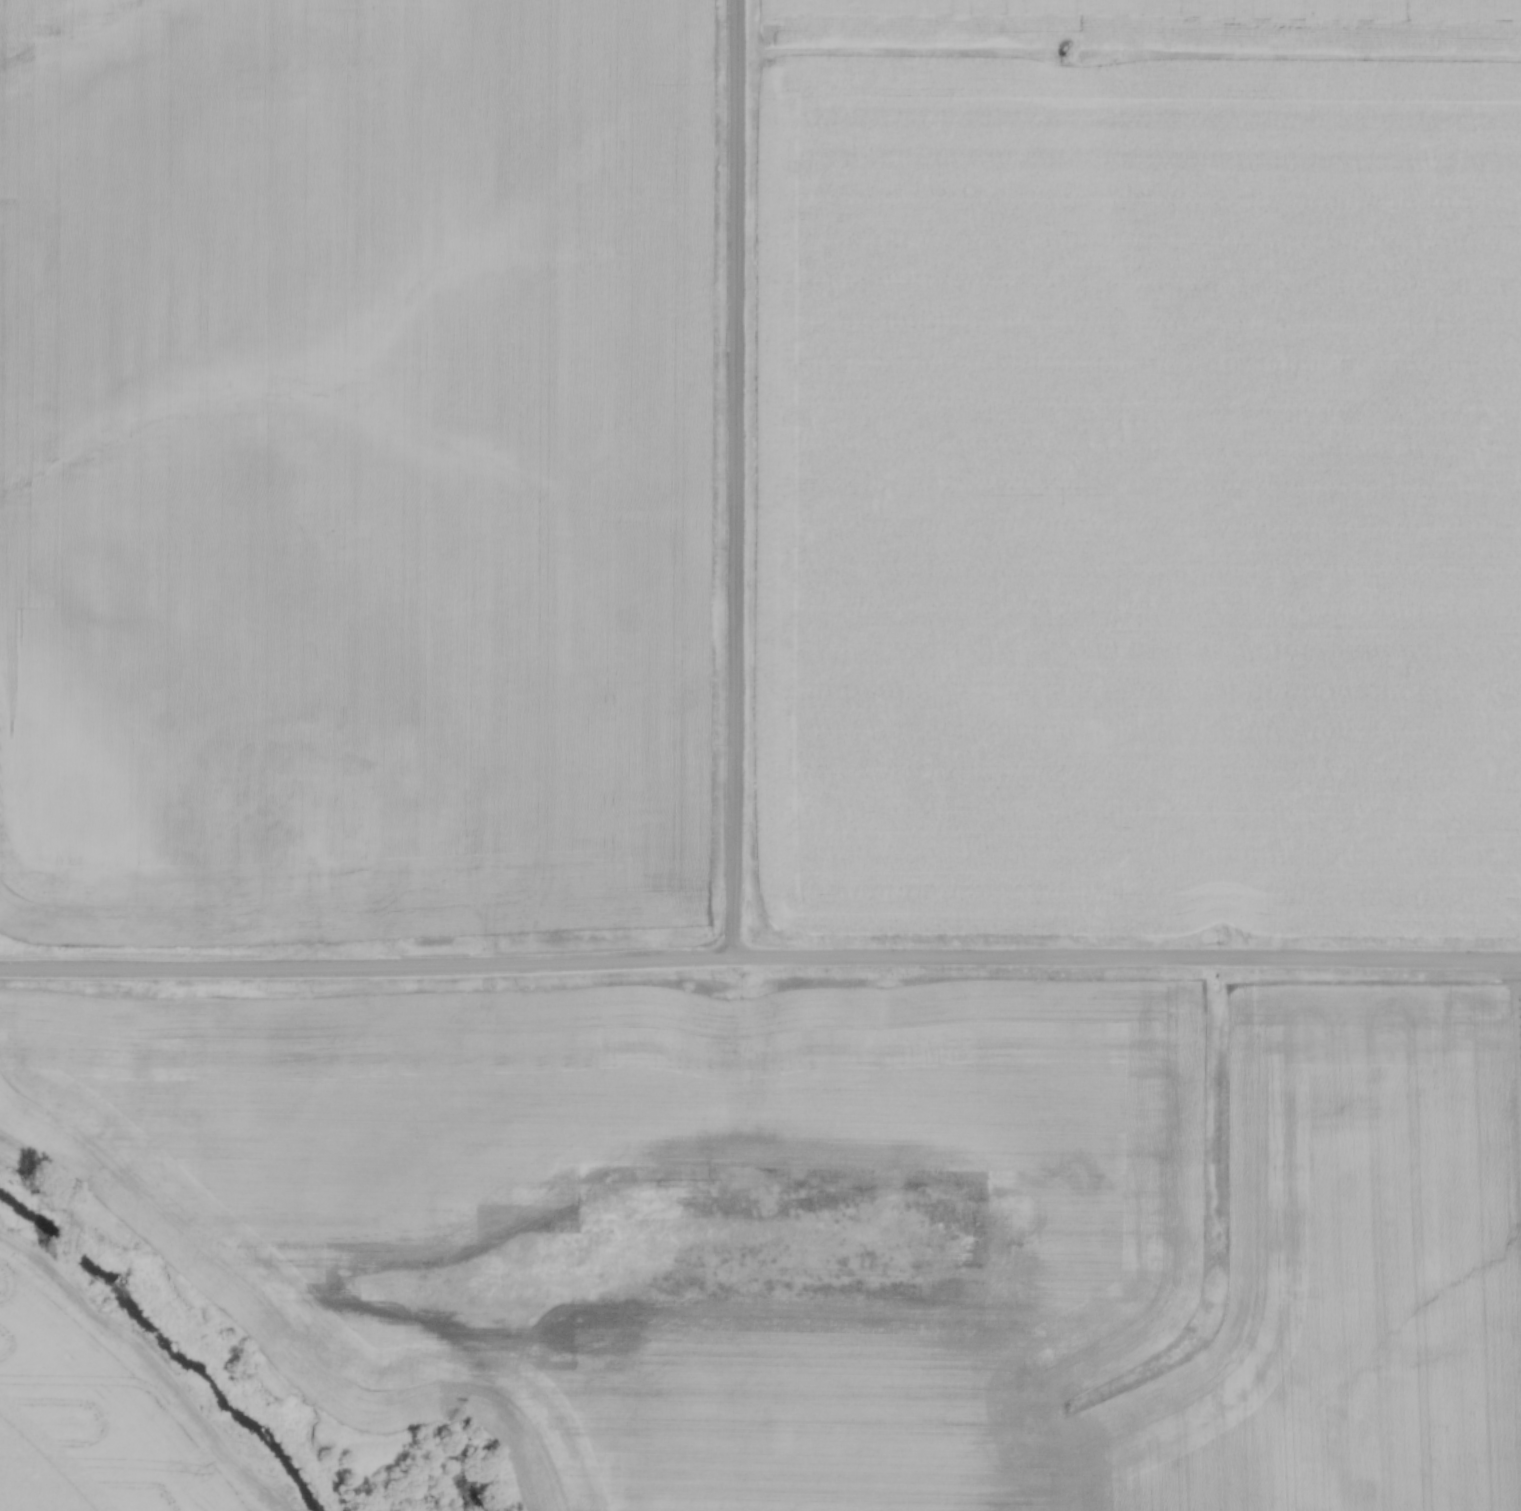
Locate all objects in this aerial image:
road: (737, 478)
road: (760, 957)
river: (178, 1337)

